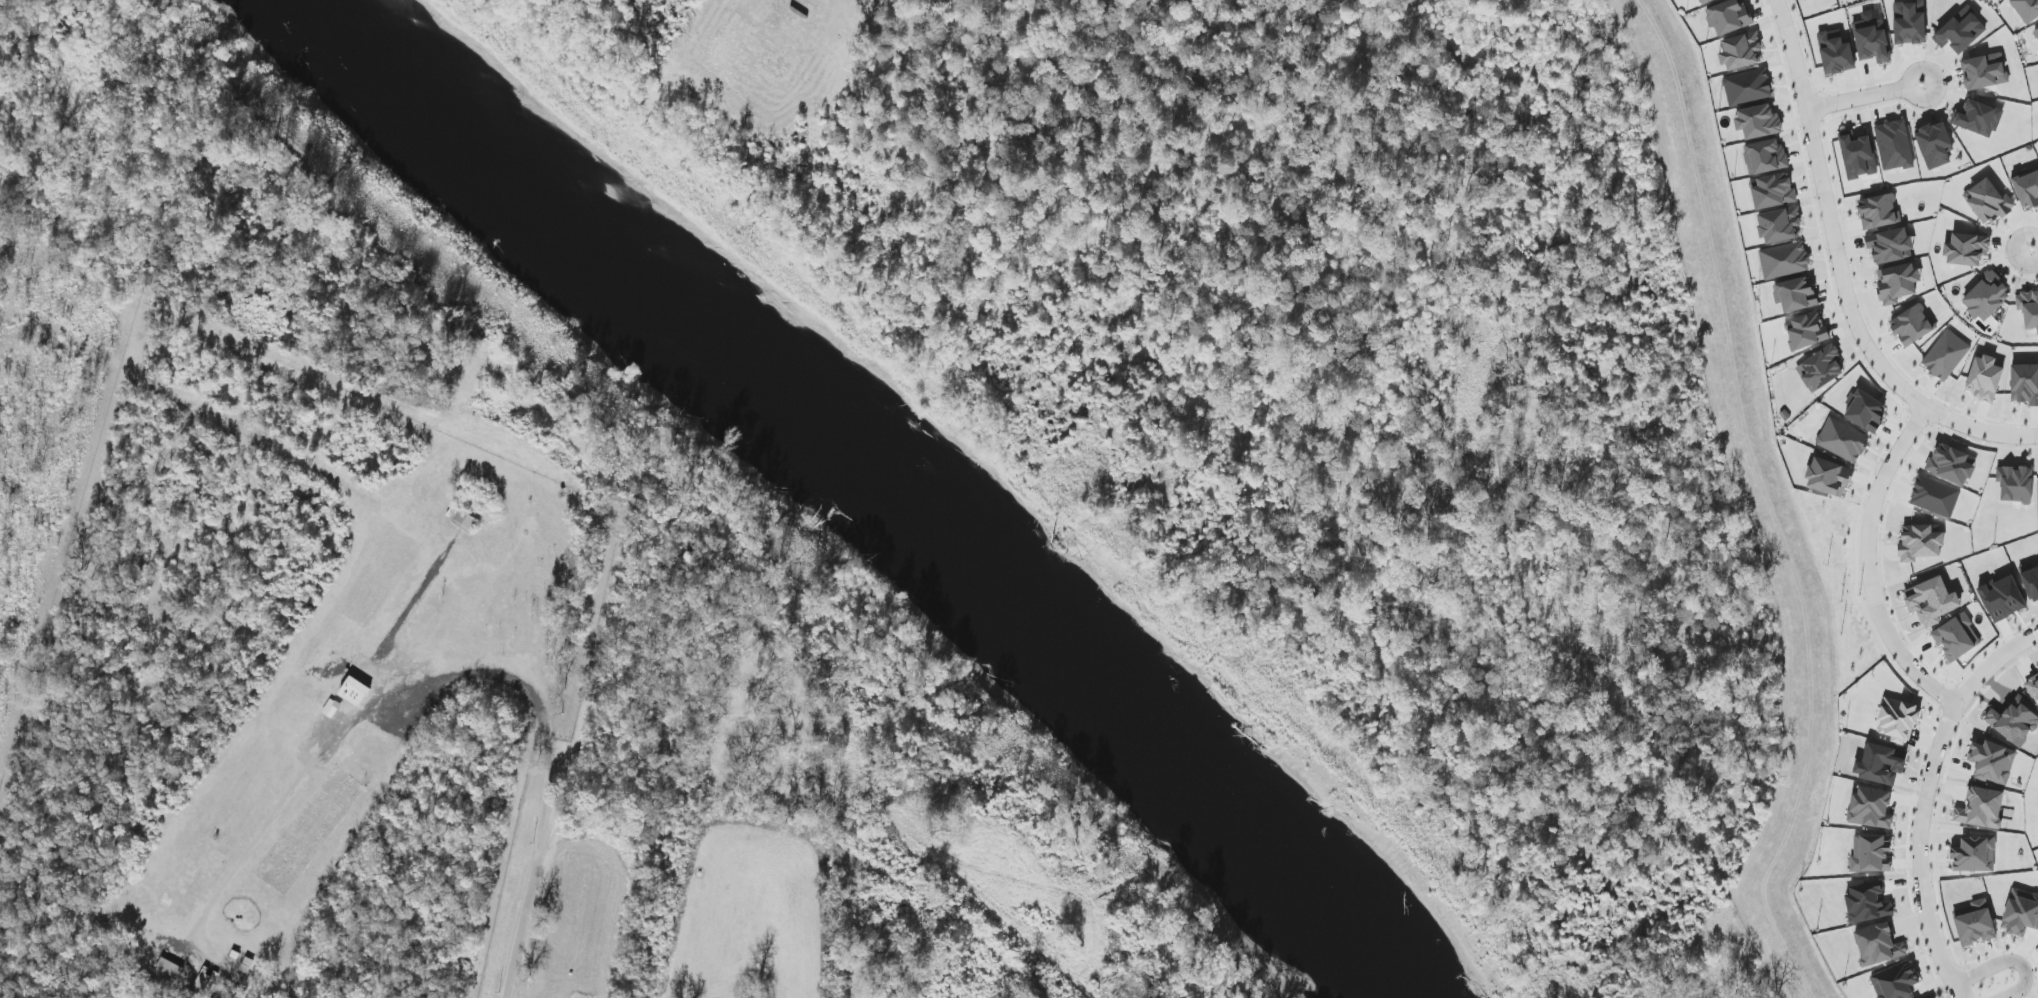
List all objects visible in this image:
building: (1805, 0)
building: (1702, 1)
building: (2026, 9)
building: (1728, 17)
building: (1909, 23)
building: (1960, 31)
building: (2037, 31)
building: (1872, 40)
building: (1741, 51)
building: (1836, 53)
building: (1984, 71)
building: (1755, 90)
building: (1734, 91)
road: (1865, 96)
building: (1978, 118)
building: (1758, 122)
building: (1935, 145)
building: (1894, 146)
building: (1858, 156)
building: (1765, 157)
building: (2027, 188)
building: (1772, 191)
building: (1989, 202)
building: (1878, 212)
building: (1779, 225)
building: (1890, 246)
road: (2032, 246)
building: (1967, 249)
building: (1784, 260)
road: (1840, 262)
building: (1897, 283)
building: (1795, 294)
building: (1986, 297)
building: (2028, 309)
building: (1912, 325)
building: (1807, 331)
building: (1946, 355)
building: (1822, 369)
building: (1984, 378)
building: (2025, 384)
building: (1866, 411)
road: (2026, 438)
building: (1842, 440)
building: (1951, 465)
building: (1829, 477)
building: (2016, 484)
river: (882, 485)
building: (1935, 496)
building: (466, 520)
building: (1920, 542)
road: (1866, 566)
building: (2031, 584)
building: (2002, 598)
building: (1931, 601)
building: (1956, 638)
building: (2037, 667)
building: (2034, 687)
building: (355, 691)
building: (332, 706)
road: (365, 717)
building: (2013, 720)
building: (1898, 721)
building: (1993, 762)
building: (1880, 764)
road: (1927, 797)
building: (1870, 808)
building: (1981, 808)
building: (1872, 854)
building: (1975, 854)
road: (530, 898)
building: (1867, 903)
building: (2021, 913)
building: (1975, 924)
building: (1878, 945)
road: (2007, 962)
building: (170, 968)
building: (1895, 980)
building: (204, 981)

